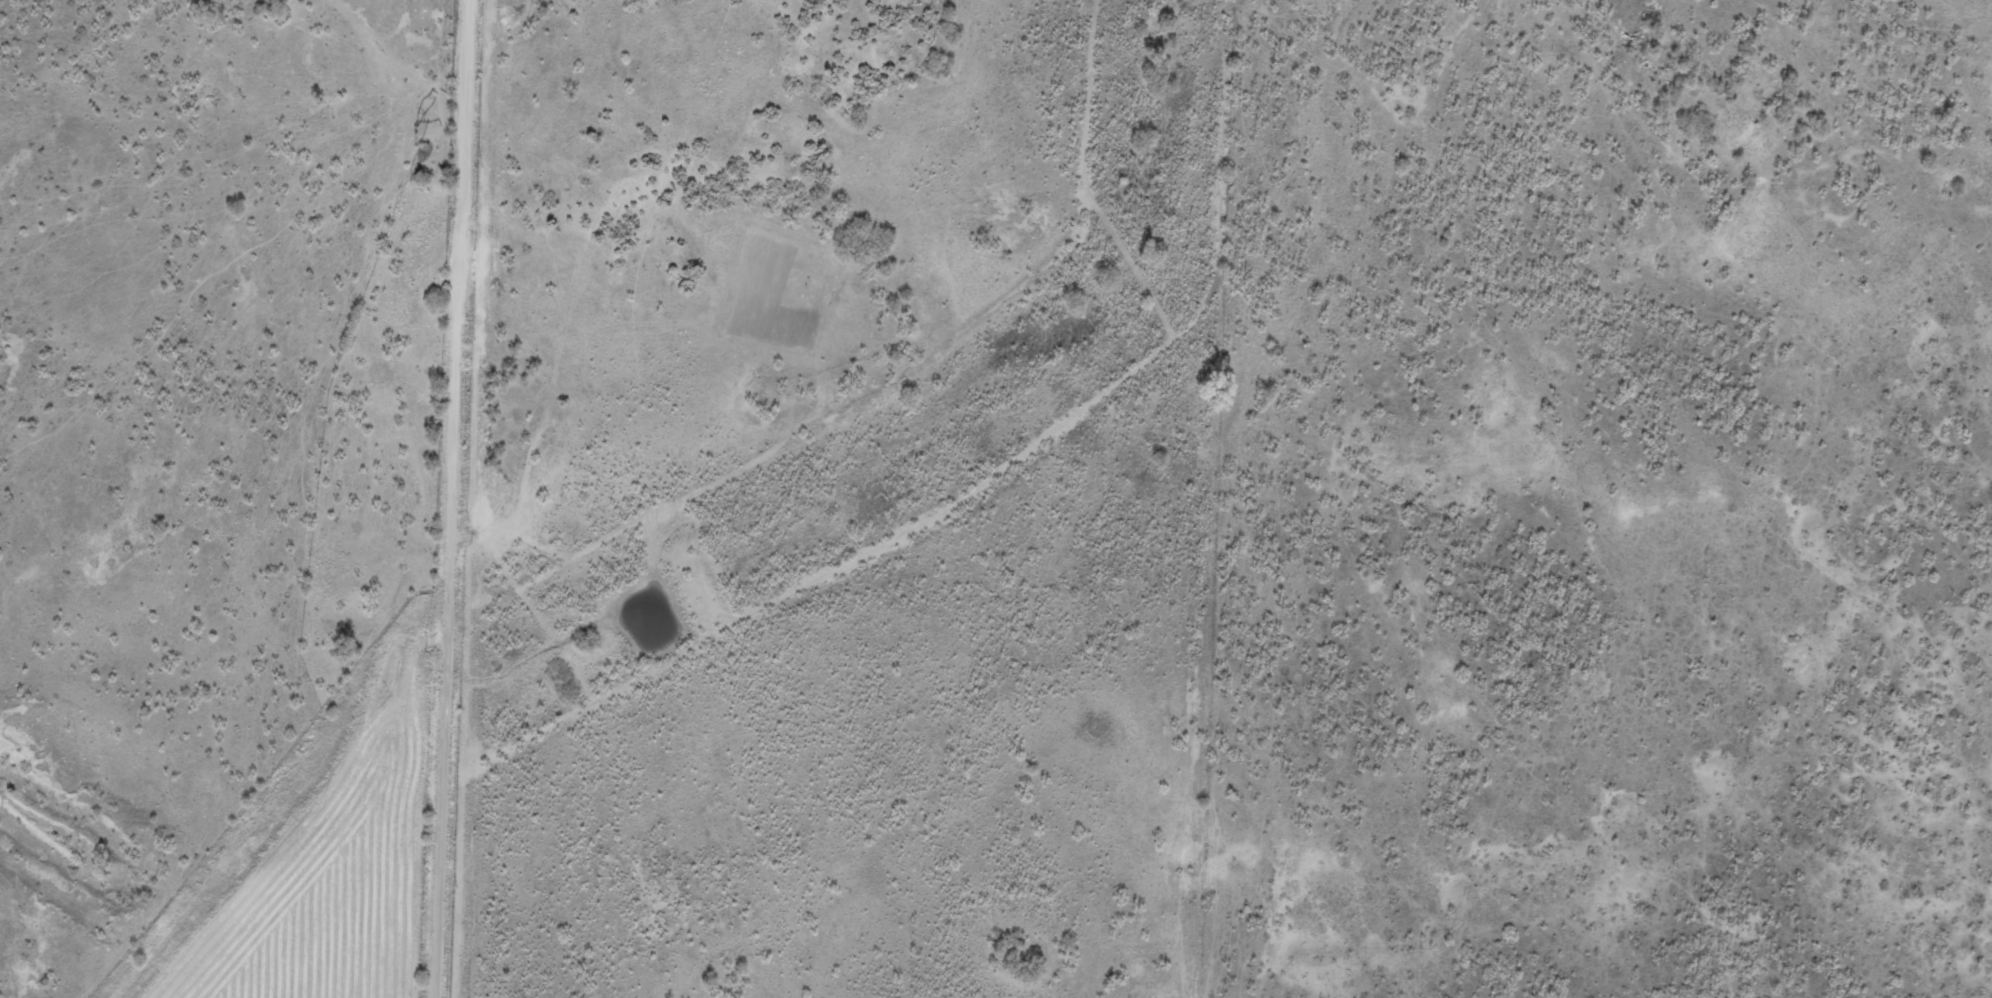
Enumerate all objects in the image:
road: (451, 498)

